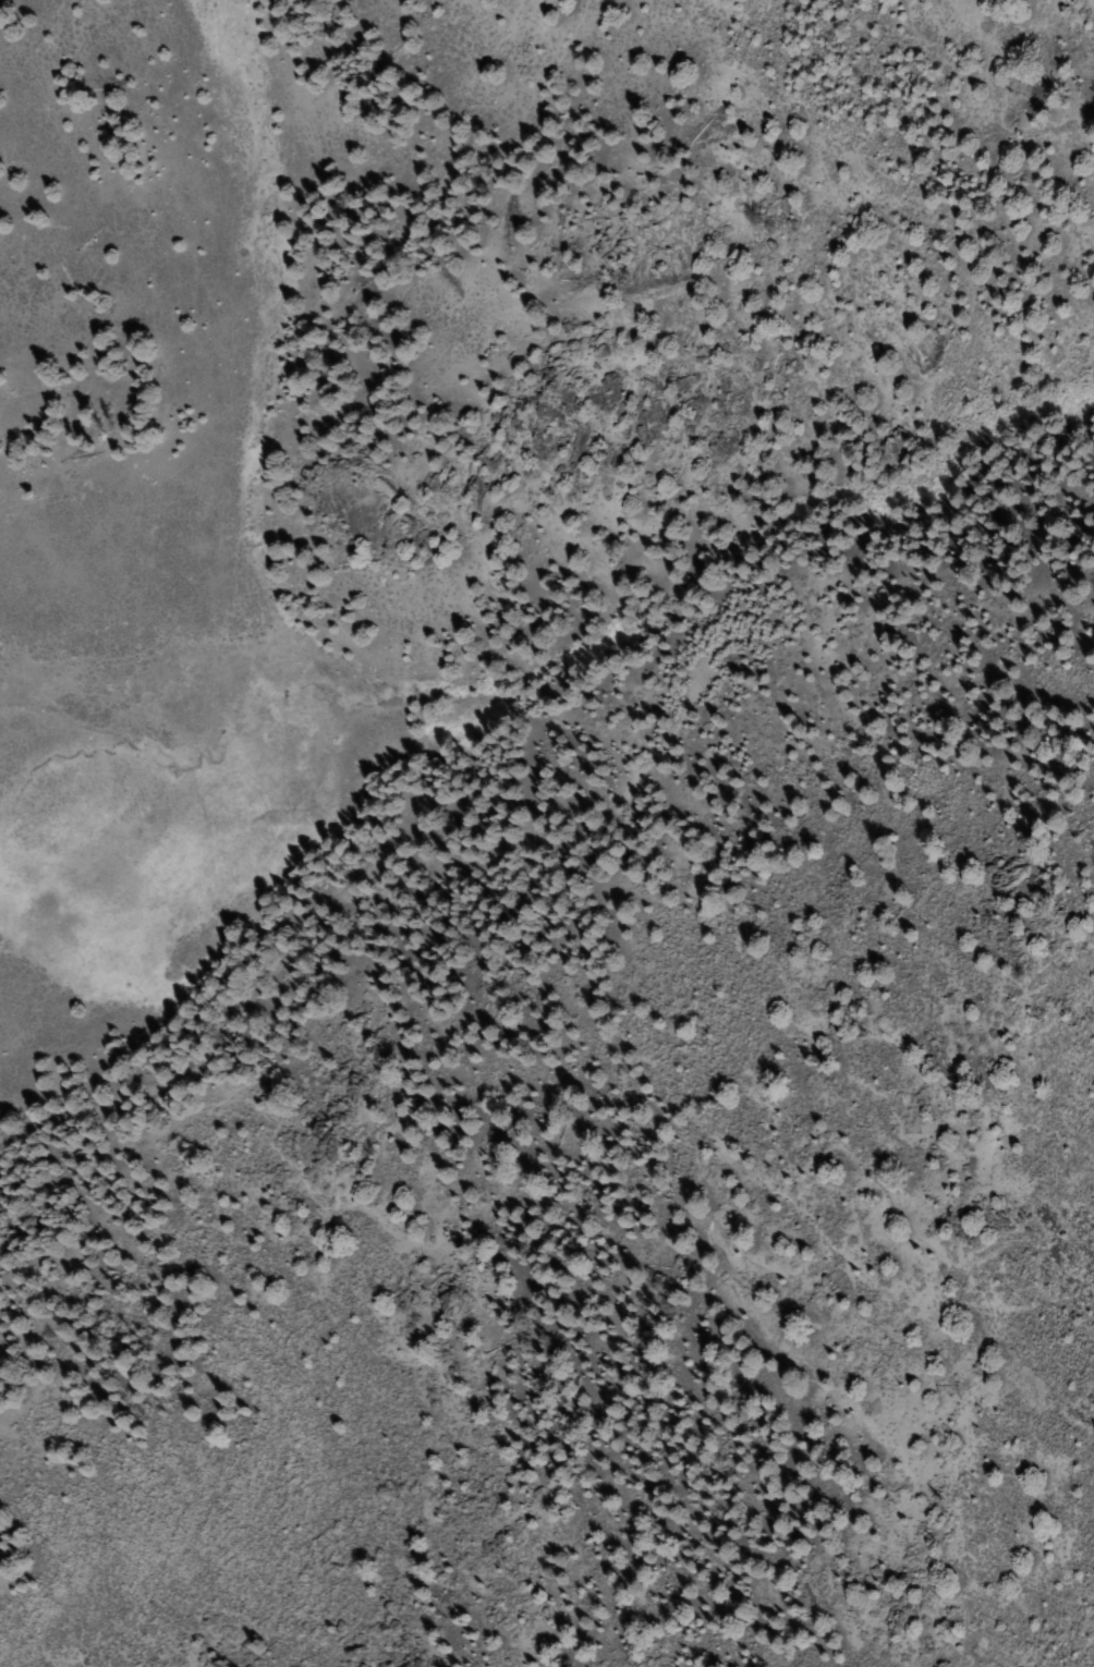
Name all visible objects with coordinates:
road: (7, 1145)

